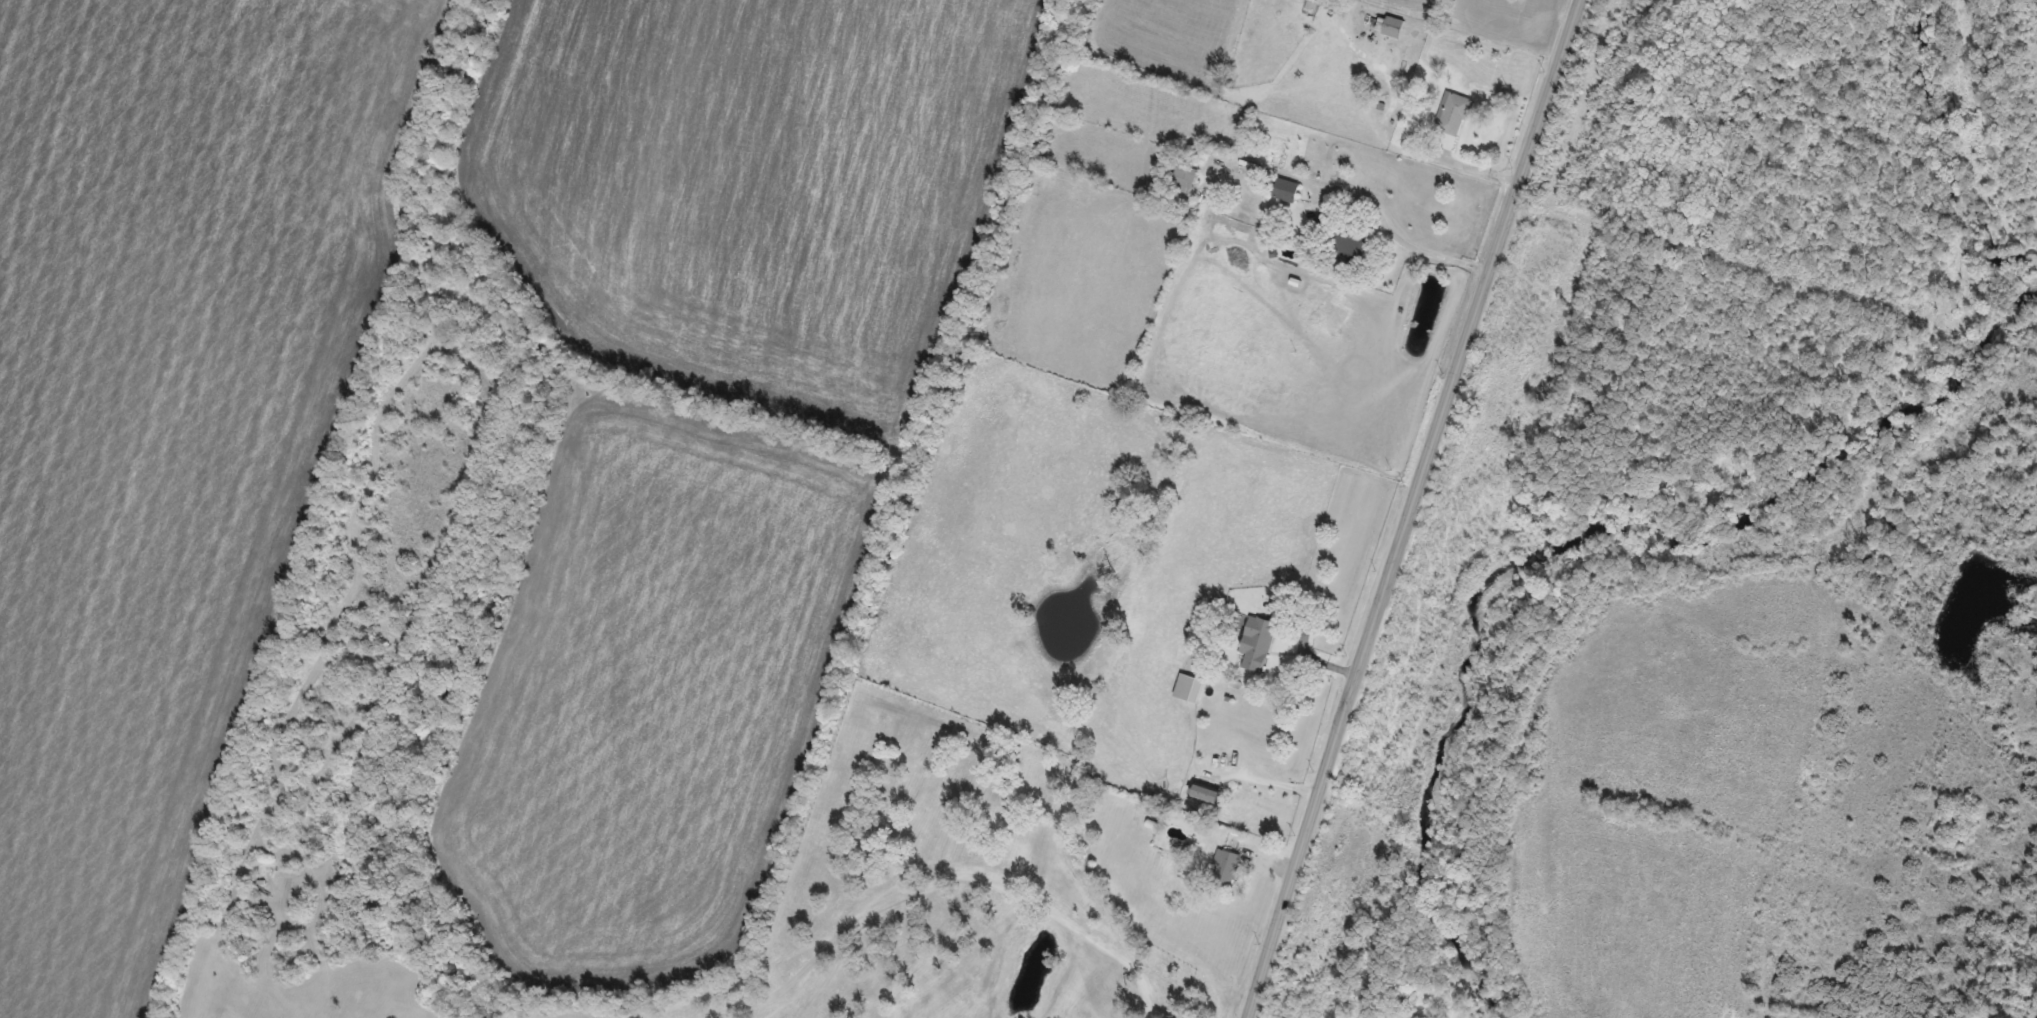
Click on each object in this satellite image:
building: (1320, 2)
building: (1390, 27)
building: (1451, 122)
building: (1184, 181)
building: (1286, 191)
road: (1393, 237)
building: (1350, 243)
road: (1412, 508)
building: (1256, 645)
building: (1189, 689)
building: (952, 762)
road: (1269, 783)
building: (1205, 795)
building: (1228, 870)

